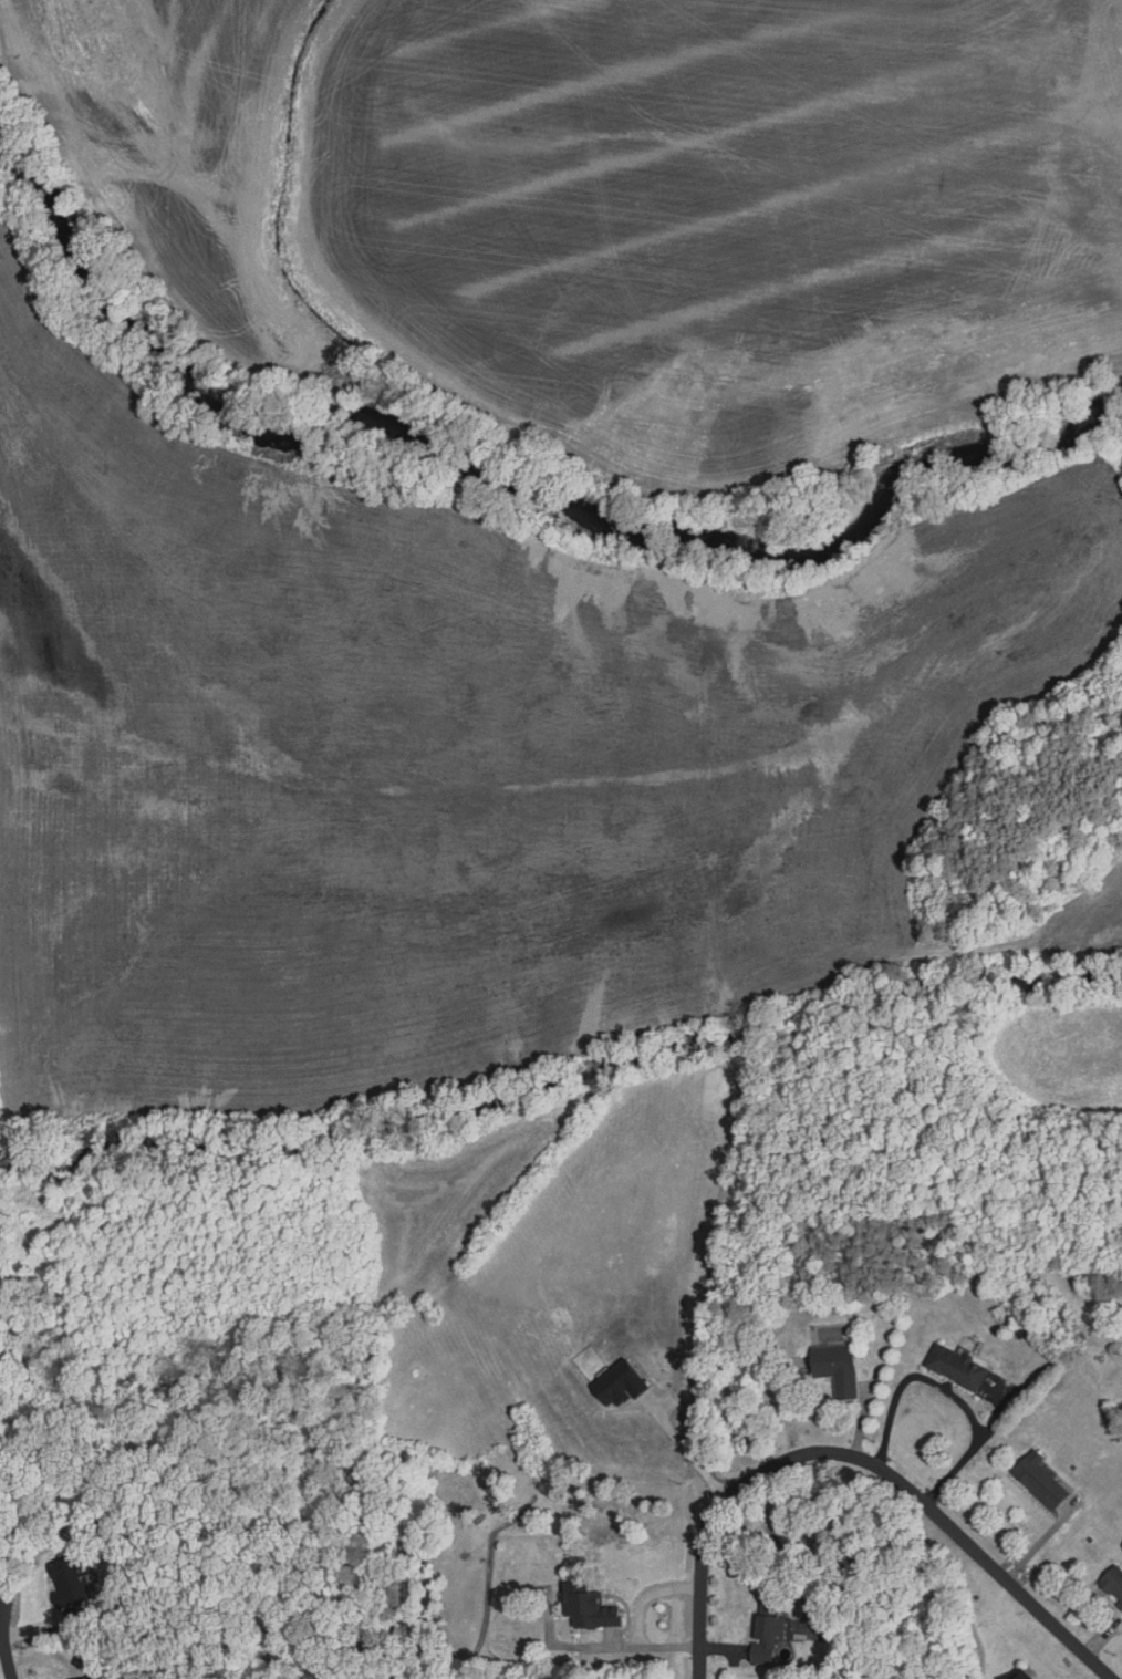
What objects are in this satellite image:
building: (829, 1367)
building: (950, 1367)
road: (949, 1392)
road: (860, 1460)
building: (1035, 1481)
building: (1111, 1586)
building: (584, 1607)
building: (762, 1638)
road: (6, 1654)
building: (1016, 1675)
building: (82, 1678)

